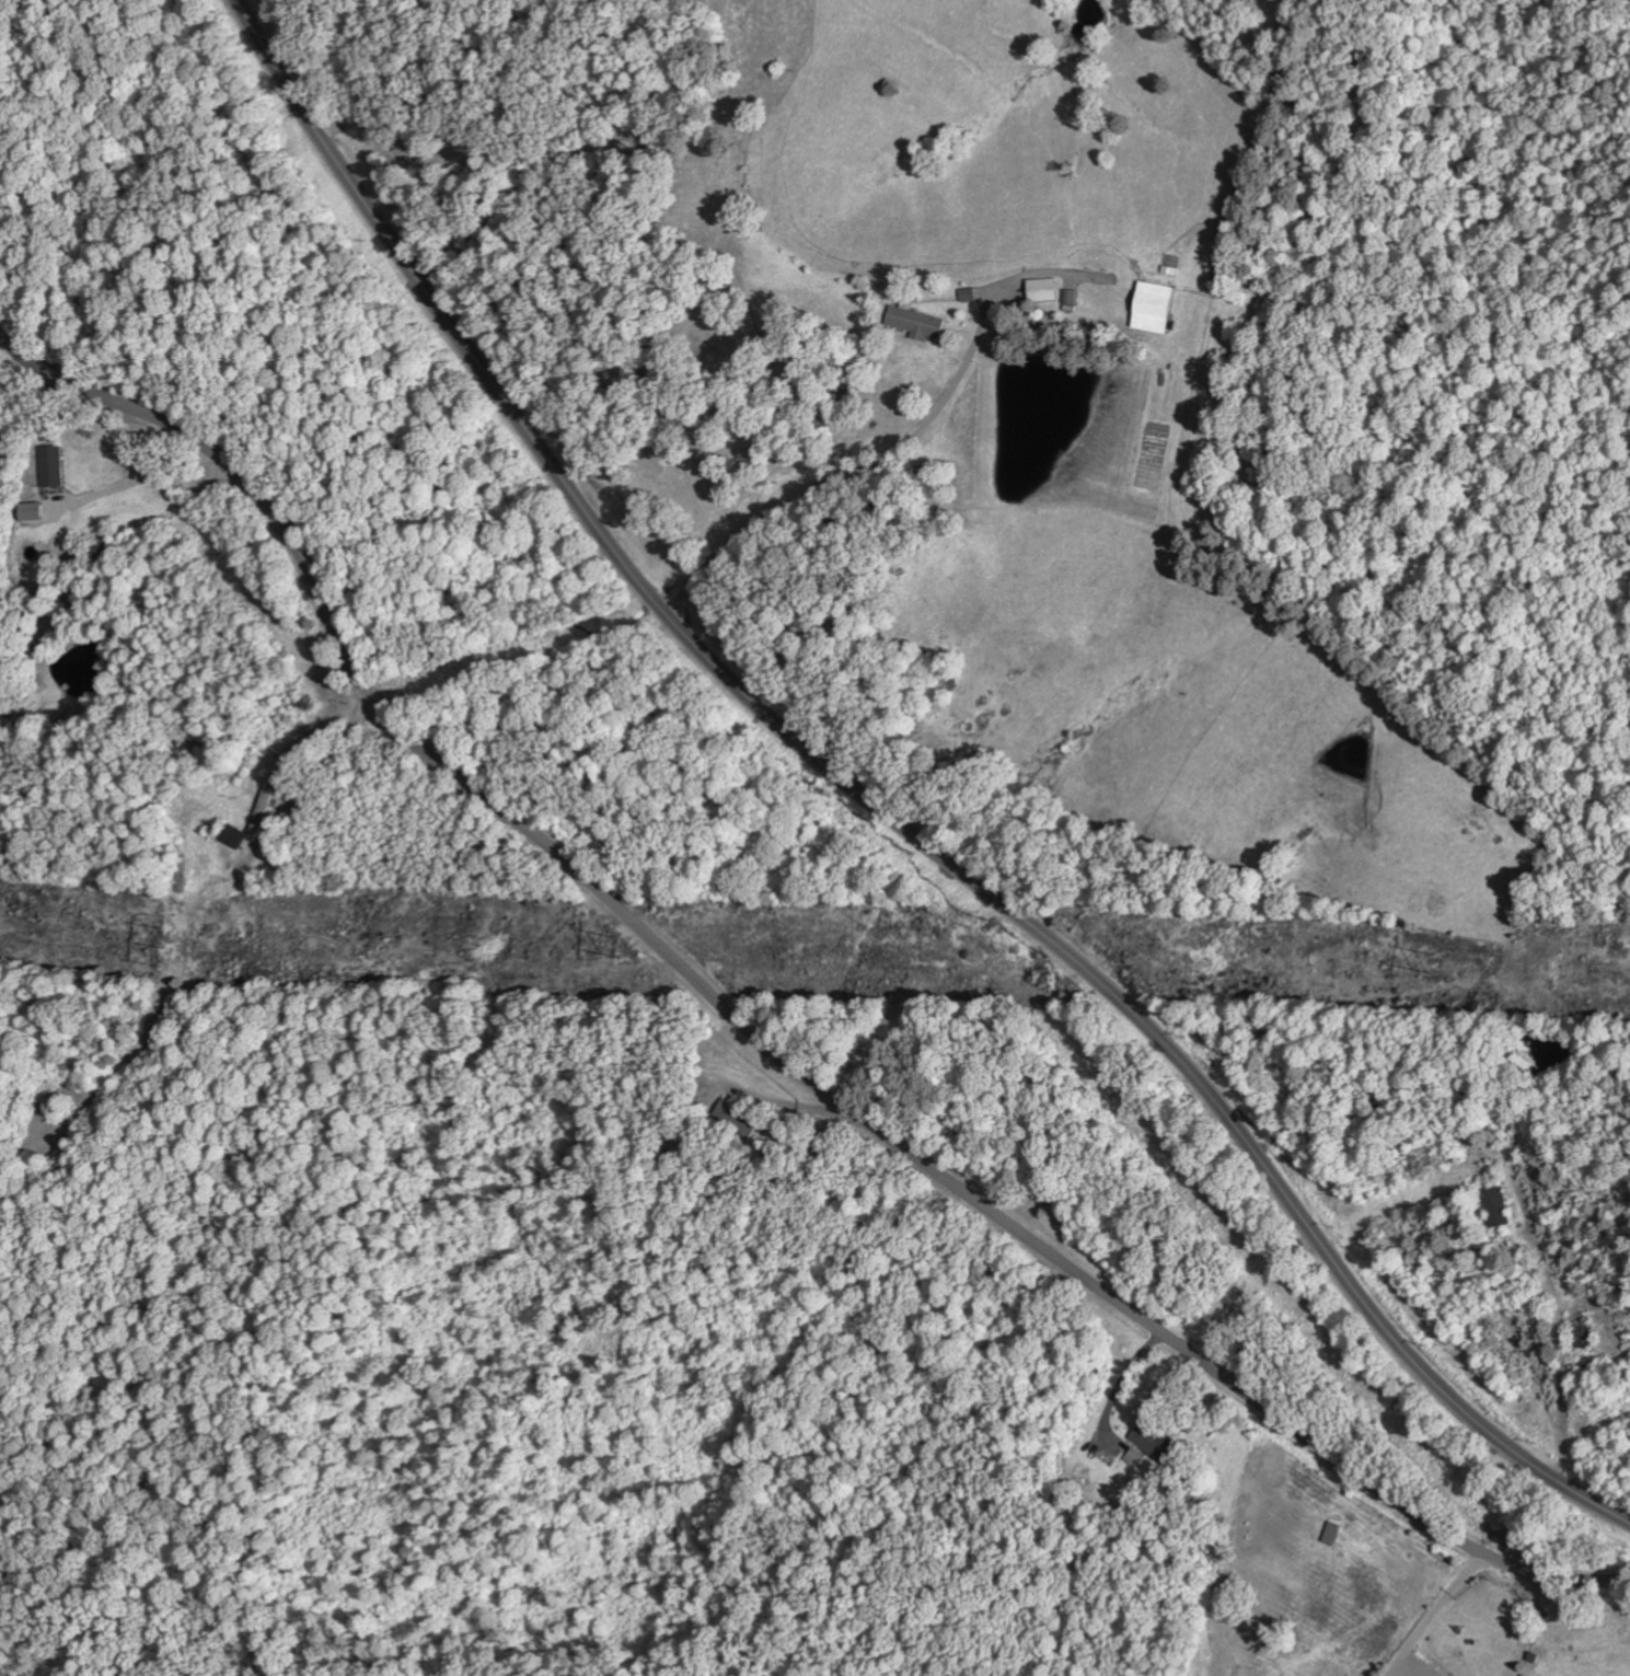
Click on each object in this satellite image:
building: (1040, 290)
building: (1152, 307)
building: (913, 323)
building: (48, 466)
building: (27, 511)
road: (882, 810)
building: (230, 835)
power tower: (161, 945)
power tower: (615, 948)
power tower: (1441, 962)
road: (749, 1028)
building: (1494, 1206)
building: (1145, 1441)
road: (921, 1457)
building: (1330, 1533)
road: (1427, 1608)

